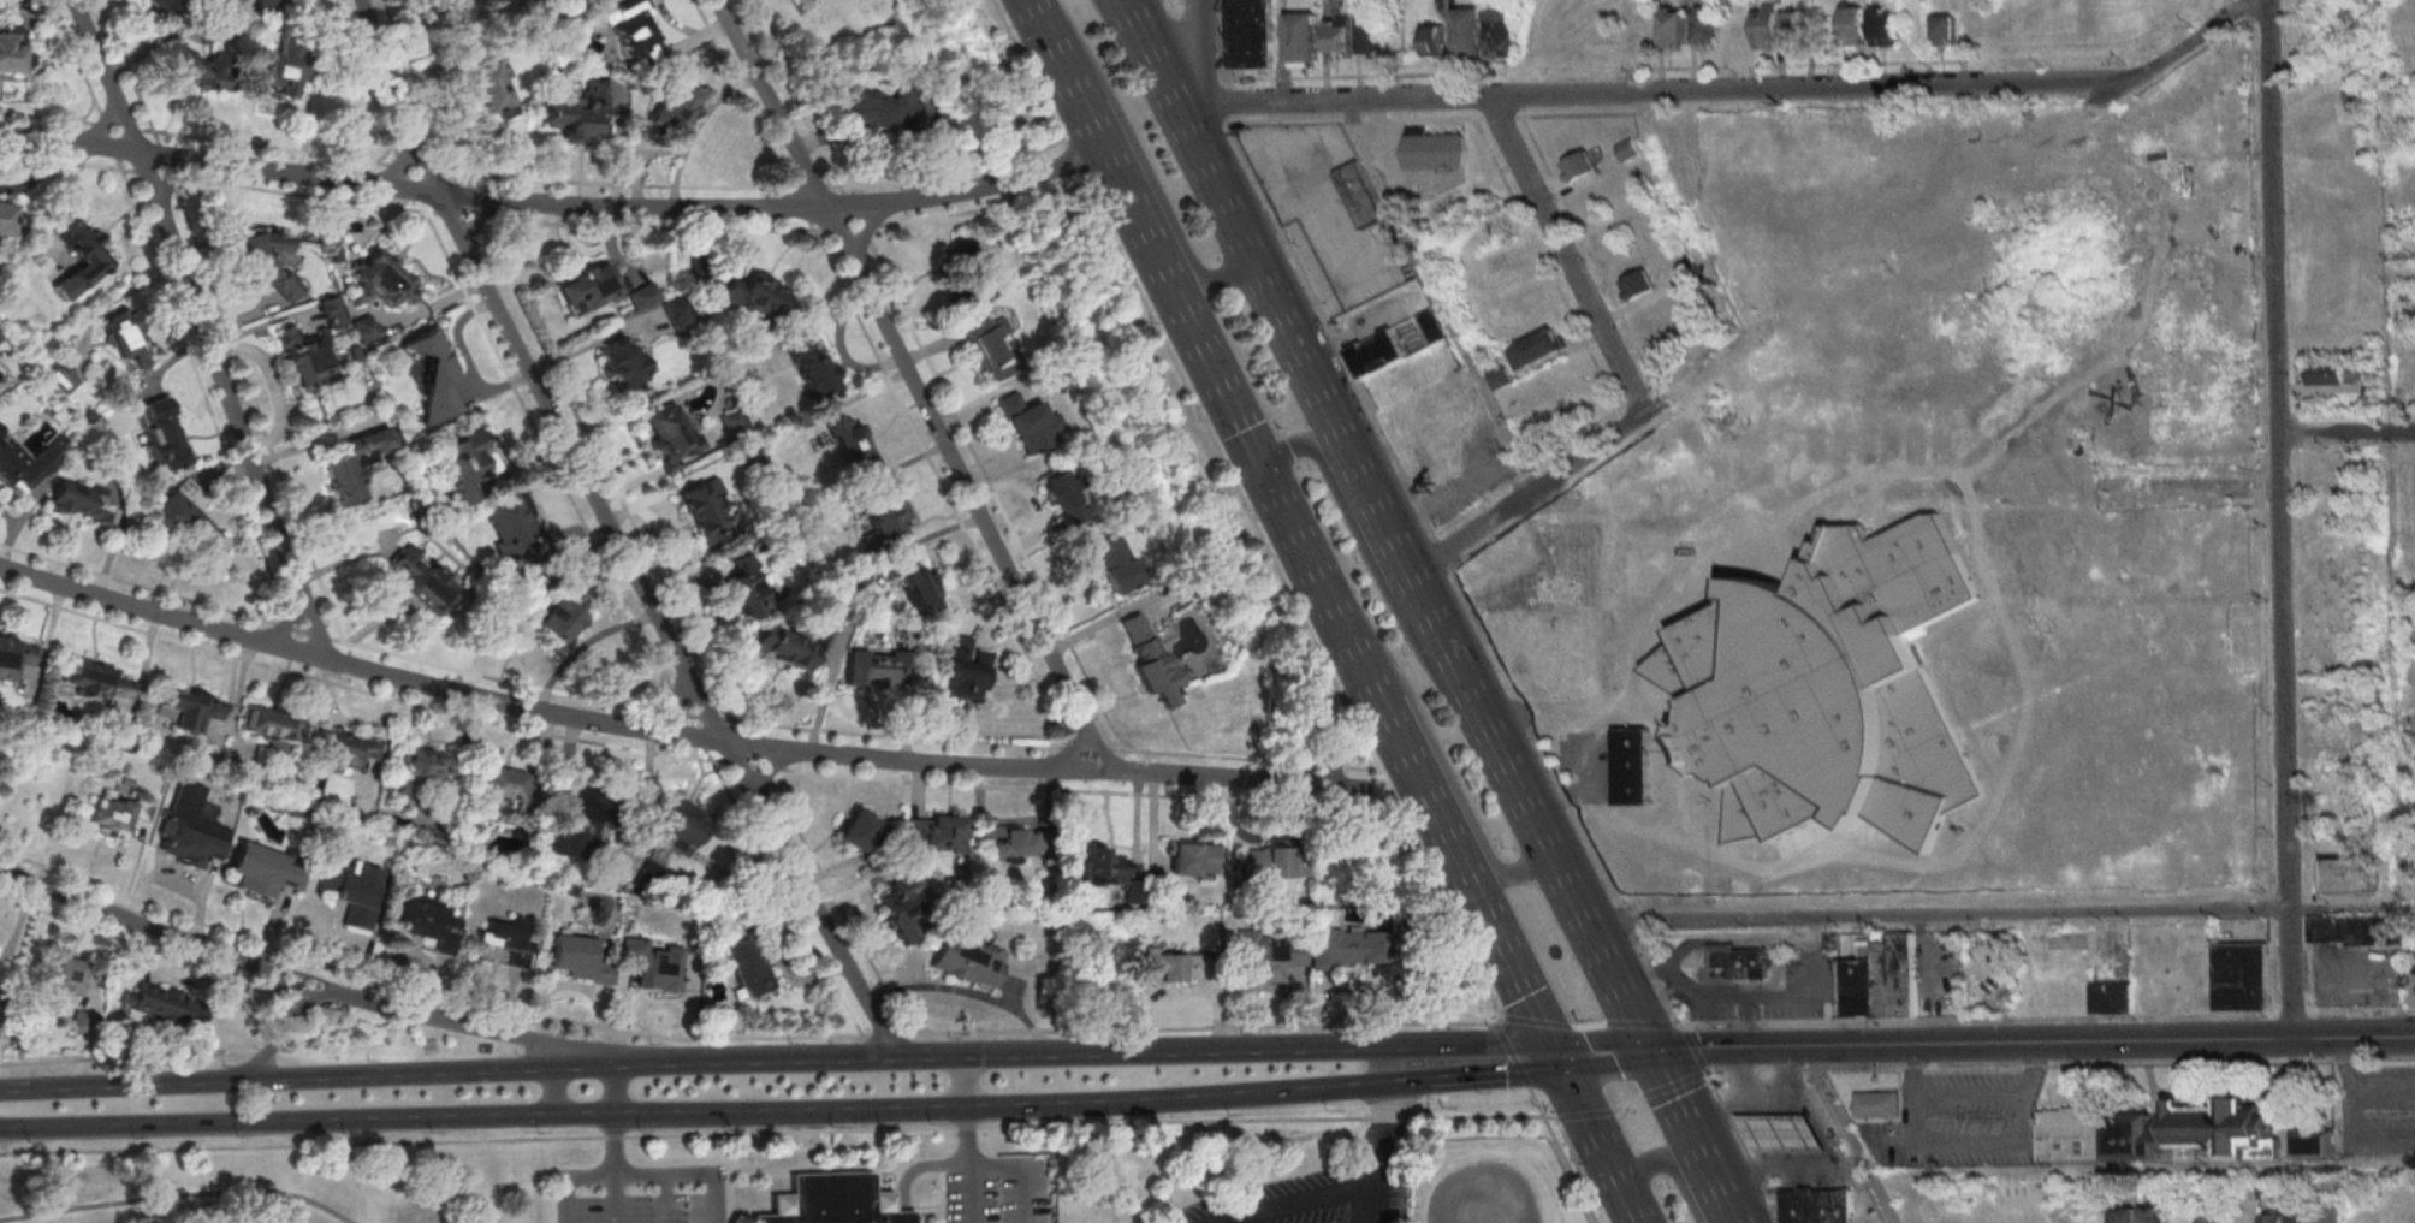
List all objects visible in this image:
building: (263, 1)
parking lot: (1173, 1)
building: (165, 7)
building: (453, 13)
road: (1121, 19)
building: (1674, 25)
building: (1707, 26)
building: (1853, 26)
building: (1885, 26)
building: (1507, 29)
building: (1767, 29)
building: (634, 30)
building: (1472, 30)
building: (1797, 30)
building: (1947, 30)
building: (1252, 32)
building: (1376, 32)
building: (1342, 35)
road: (2195, 37)
building: (1309, 38)
building: (1437, 41)
building: (11, 49)
road: (1195, 54)
building: (197, 66)
building: (285, 70)
road: (1027, 70)
building: (492, 87)
road: (1805, 89)
road: (1328, 100)
road: (771, 102)
building: (676, 106)
building: (885, 111)
building: (578, 113)
road: (1182, 123)
road: (93, 129)
building: (1438, 152)
building: (1628, 152)
road: (1070, 156)
road: (1141, 159)
road: (400, 167)
building: (1580, 167)
road: (997, 182)
road: (171, 183)
road: (413, 190)
building: (1363, 197)
road: (859, 203)
parking lot: (1322, 213)
building: (6, 218)
road: (473, 222)
road: (867, 225)
road: (841, 231)
road: (1146, 238)
road: (1563, 250)
building: (81, 256)
building: (268, 261)
building: (1689, 271)
road: (1303, 277)
building: (382, 279)
building: (1638, 286)
building: (588, 287)
building: (754, 292)
building: (643, 296)
road: (1438, 298)
building: (331, 313)
building: (366, 328)
road: (202, 333)
building: (0, 338)
building: (1399, 345)
building: (993, 349)
building: (1536, 352)
building: (624, 362)
building: (309, 363)
building: (812, 368)
building: (60, 375)
building: (432, 376)
building: (1501, 376)
building: (2326, 376)
road: (1328, 412)
building: (731, 420)
building: (1030, 423)
road: (2345, 433)
building: (162, 434)
building: (670, 434)
building: (850, 441)
building: (463, 462)
building: (23, 465)
building: (352, 465)
traffic signals: (1265, 477)
road: (971, 492)
road: (1527, 493)
building: (1063, 497)
building: (83, 500)
building: (705, 510)
building: (883, 515)
road: (2277, 520)
building: (514, 523)
building: (186, 524)
road: (612, 535)
road: (1299, 544)
road: (1367, 559)
building: (1115, 564)
building: (421, 577)
building: (916, 584)
building: (741, 586)
building: (1590, 586)
road: (1290, 596)
road: (286, 616)
building: (559, 619)
building: (789, 645)
building: (16, 655)
building: (1149, 659)
building: (1545, 665)
building: (878, 669)
building: (966, 669)
building: (94, 678)
building: (1830, 689)
road: (518, 700)
road: (672, 701)
road: (1476, 708)
building: (185, 710)
building: (269, 726)
building: (2337, 737)
building: (345, 748)
road: (1102, 748)
road: (1072, 749)
road: (1440, 758)
road: (1082, 765)
road: (771, 767)
building: (1632, 768)
building: (420, 770)
road: (1230, 777)
building: (504, 784)
road: (1383, 785)
road: (1557, 790)
building: (114, 813)
building: (186, 823)
building: (676, 825)
building: (577, 826)
building: (859, 831)
building: (937, 832)
road: (1443, 835)
building: (1009, 839)
building: (1192, 857)
building: (1272, 862)
building: (1100, 866)
building: (263, 869)
building: (2354, 873)
road: (1561, 880)
building: (352, 890)
road: (2343, 906)
building: (906, 909)
road: (1933, 912)
park: (1399, 914)
road: (130, 915)
building: (428, 922)
building: (2361, 933)
building: (505, 940)
building: (1345, 948)
building: (1266, 957)
building: (580, 960)
building: (968, 960)
building: (654, 963)
building: (1170, 966)
building: (1737, 966)
building: (747, 967)
road: (301, 974)
building: (2242, 976)
building: (64, 978)
building: (1879, 980)
building: (2414, 982)
road: (1614, 985)
road: (967, 993)
road: (310, 998)
building: (2111, 998)
building: (164, 1004)
road: (2047, 1015)
building: (82, 1022)
road: (281, 1026)
road: (1590, 1026)
road: (477, 1028)
road: (737, 1038)
road: (1470, 1043)
road: (2030, 1044)
road: (1693, 1047)
traffic signals: (1646, 1051)
road: (1601, 1055)
road: (126, 1056)
road: (924, 1056)
traffic signals: (1556, 1058)
road: (2059, 1063)
road: (1388, 1064)
road: (1520, 1070)
road: (1494, 1075)
road: (232, 1084)
road: (968, 1084)
road: (1399, 1084)
road: (1674, 1085)
road: (1268, 1093)
road: (615, 1096)
road: (553, 1098)
building: (1875, 1104)
road: (1627, 1105)
road: (1428, 1106)
parking lot: (2374, 1111)
road: (865, 1115)
road: (1585, 1116)
road: (1550, 1118)
road: (1383, 1124)
road: (281, 1127)
road: (1591, 1128)
road: (771, 1130)
building: (2154, 1132)
road: (1847, 1135)
road: (1691, 1136)
building: (1781, 1138)
road: (820, 1141)
building: (2313, 1145)
road: (833, 1146)
road: (1743, 1146)
road: (947, 1165)
road: (1026, 1165)
road: (1669, 1165)
road: (2141, 1168)
road: (830, 1169)
road: (726, 1170)
road: (1568, 1170)
road: (616, 1171)
road: (778, 1171)
road: (1832, 1171)
park: (829, 1174)
road: (643, 1175)
park: (1323, 1185)
parking lot: (1001, 1193)
road: (1367, 1193)
parking lot: (642, 1194)
road: (973, 1194)
road: (177, 1195)
road: (941, 1197)
road: (665, 1199)
building: (831, 1200)
parking lot: (1310, 1200)
road: (1294, 1204)
building: (1816, 1206)
road: (925, 1207)
road: (1633, 1211)
building: (2154, 1213)
building: (2125, 1215)
building: (2331, 1215)
building: (2211, 1217)
building: (2272, 1217)
building: (2301, 1217)
building: (2387, 1217)
building: (1981, 1219)

